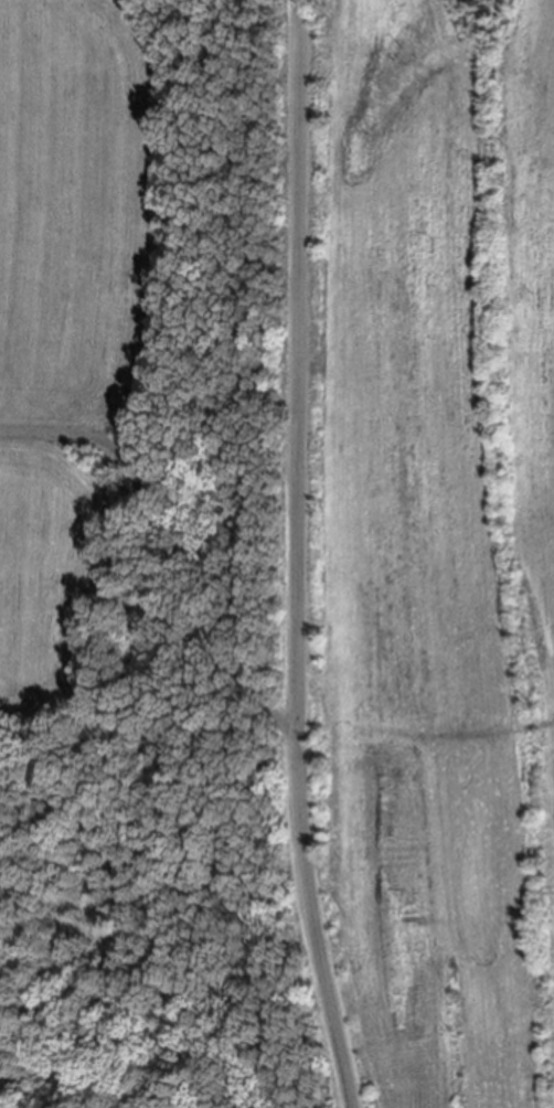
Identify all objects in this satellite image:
road: (173, 542)
road: (297, 555)

